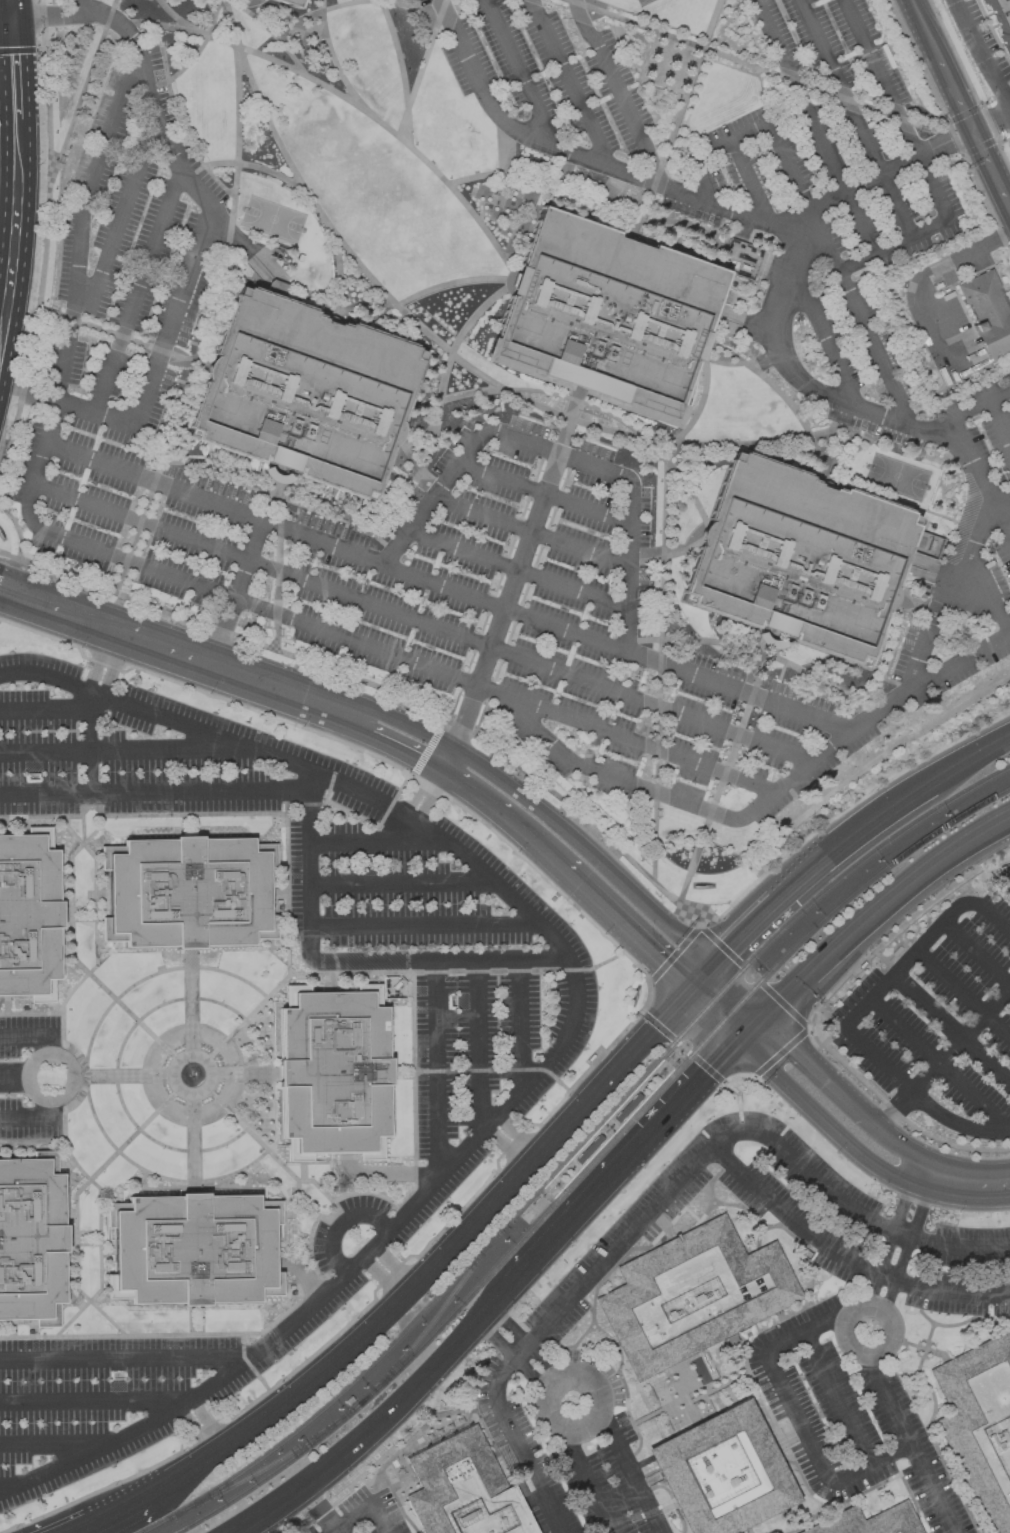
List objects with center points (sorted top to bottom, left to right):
road: (383, 2)
park: (644, 2)
building: (289, 3)
road: (80, 7)
road: (8, 10)
road: (15, 10)
parking lot: (782, 12)
road: (85, 13)
building: (1001, 20)
road: (6, 21)
road: (182, 22)
road: (172, 29)
road: (925, 29)
road: (273, 33)
road: (204, 46)
road: (983, 51)
road: (163, 52)
road: (334, 61)
road: (872, 61)
road: (424, 69)
road: (756, 69)
road: (404, 72)
road: (523, 74)
road: (569, 83)
road: (617, 88)
road: (85, 93)
road: (956, 96)
road: (239, 106)
road: (855, 118)
road: (268, 120)
road: (991, 124)
road: (815, 126)
road: (949, 127)
road: (387, 128)
road: (749, 132)
road: (582, 159)
road: (251, 167)
road: (990, 170)
road: (925, 171)
road: (885, 173)
road: (9, 180)
road: (752, 181)
road: (705, 182)
road: (18, 193)
road: (9, 207)
road: (1009, 210)
road: (643, 217)
road: (123, 218)
park: (272, 219)
road: (202, 234)
road: (47, 244)
road: (893, 245)
road: (249, 250)
road: (935, 267)
road: (788, 274)
road: (839, 276)
road: (139, 291)
road: (373, 305)
building: (988, 312)
fountain: (456, 317)
building: (607, 317)
road: (333, 319)
road: (822, 336)
road: (124, 338)
road: (191, 384)
road: (26, 394)
road: (470, 394)
building: (304, 396)
road: (701, 405)
parking lot: (910, 410)
road: (97, 414)
road: (879, 418)
road: (999, 423)
road: (801, 424)
road: (584, 425)
road: (841, 431)
road: (562, 439)
road: (419, 440)
road: (398, 447)
road: (557, 456)
road: (659, 456)
road: (411, 462)
park: (897, 479)
road: (980, 481)
road: (279, 484)
road: (410, 488)
road: (543, 496)
road: (971, 507)
road: (985, 522)
road: (530, 535)
road: (278, 546)
building: (799, 559)
road: (517, 572)
road: (171, 577)
road: (986, 584)
road: (449, 588)
road: (235, 593)
road: (137, 603)
road: (971, 605)
road: (934, 613)
road: (69, 615)
road: (500, 617)
road: (423, 625)
road: (762, 653)
road: (98, 662)
road: (887, 662)
road: (958, 663)
road: (659, 664)
road: (113, 668)
road: (249, 678)
road: (179, 683)
road: (45, 710)
road: (90, 713)
road: (408, 724)
road: (996, 743)
road: (399, 745)
road: (428, 748)
road: (126, 753)
road: (821, 756)
road: (447, 760)
road: (385, 761)
road: (90, 762)
road: (955, 765)
road: (613, 779)
road: (722, 779)
road: (418, 787)
road: (915, 788)
road: (517, 790)
road: (156, 793)
road: (431, 799)
road: (499, 813)
road: (1009, 815)
road: (114, 817)
road: (375, 843)
road: (308, 869)
road: (535, 871)
road: (800, 876)
road: (401, 886)
road: (662, 890)
building: (189, 891)
road: (644, 902)
road: (878, 907)
road: (94, 913)
building: (29, 915)
road: (620, 926)
road: (423, 927)
road: (977, 953)
road: (439, 962)
traffic signals: (711, 967)
road: (699, 980)
road: (139, 983)
road: (736, 990)
road: (272, 991)
traffic signals: (687, 993)
road: (963, 994)
road: (190, 1002)
road: (791, 1012)
road: (854, 1015)
traffic signals: (762, 1016)
road: (712, 1017)
parking lot: (937, 1017)
road: (518, 1027)
road: (750, 1028)
road: (952, 1028)
road: (648, 1035)
road: (37, 1038)
road: (565, 1041)
traffic signals: (738, 1041)
road: (61, 1044)
road: (478, 1049)
road: (675, 1056)
road: (945, 1057)
road: (266, 1061)
road: (940, 1063)
railway: (671, 1068)
building: (334, 1070)
road: (821, 1071)
road: (435, 1072)
road: (208, 1074)
road: (244, 1076)
fountain: (191, 1077)
parking lot: (34, 1078)
road: (121, 1078)
railway: (668, 1078)
road: (13, 1079)
road: (71, 1083)
parking lot: (482, 1088)
road: (797, 1096)
road: (36, 1121)
road: (249, 1135)
road: (517, 1138)
road: (31, 1142)
road: (191, 1145)
road: (901, 1145)
railway: (575, 1147)
road: (506, 1149)
road: (621, 1169)
road: (881, 1169)
road: (384, 1176)
road: (159, 1179)
road: (305, 1182)
road: (960, 1185)
road: (78, 1203)
road: (102, 1208)
road: (857, 1218)
road: (342, 1225)
building: (32, 1239)
road: (891, 1239)
road: (624, 1240)
road: (908, 1246)
building: (193, 1249)
road: (847, 1254)
road: (397, 1266)
road: (429, 1275)
road: (385, 1278)
building: (692, 1295)
road: (871, 1306)
railway: (432, 1325)
road: (507, 1327)
road: (515, 1356)
road: (128, 1359)
road: (544, 1363)
road: (505, 1366)
road: (580, 1380)
road: (837, 1398)
road: (95, 1403)
railway: (356, 1410)
road: (796, 1416)
road: (210, 1423)
road: (378, 1424)
building: (980, 1424)
road: (609, 1430)
road: (195, 1433)
road: (910, 1444)
road: (56, 1447)
road: (571, 1451)
road: (596, 1455)
road: (209, 1458)
road: (523, 1460)
railway: (265, 1470)
building: (722, 1472)
railway: (267, 1477)
road: (168, 1483)
building: (464, 1489)
road: (639, 1489)
road: (385, 1492)
road: (593, 1499)
road: (116, 1513)
road: (379, 1518)
building: (871, 1521)
road: (81, 1530)
road: (338, 1531)

